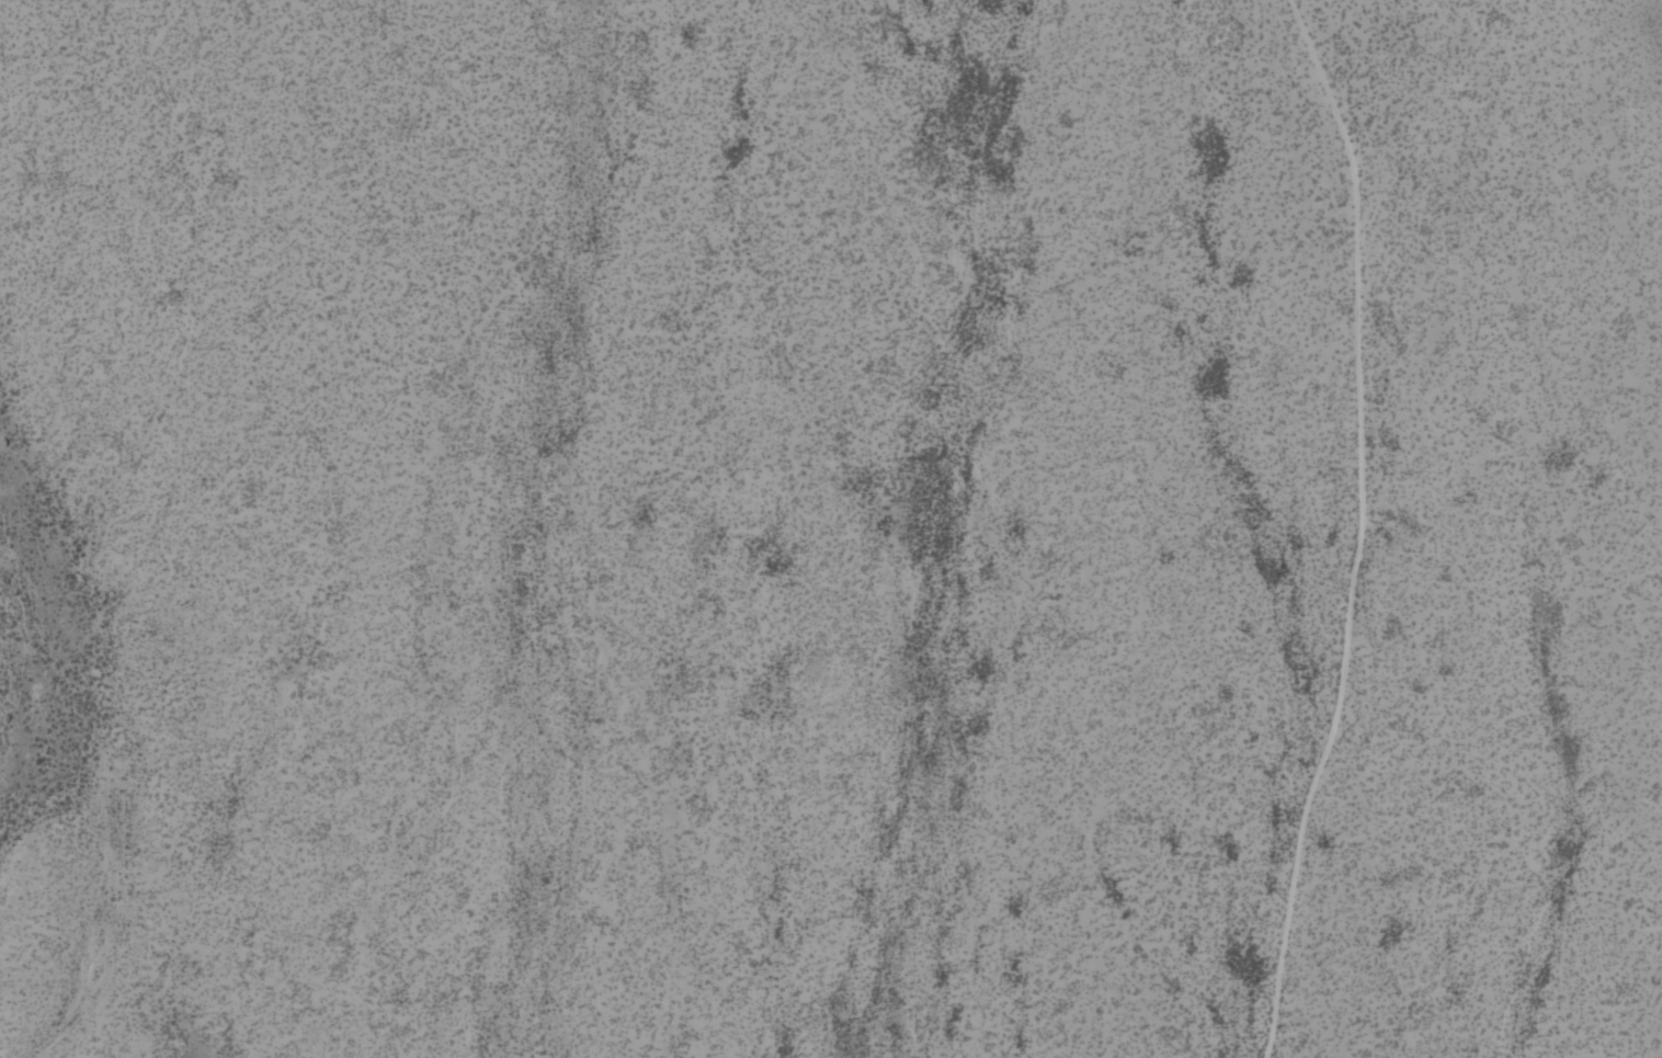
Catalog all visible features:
road: (1348, 526)

